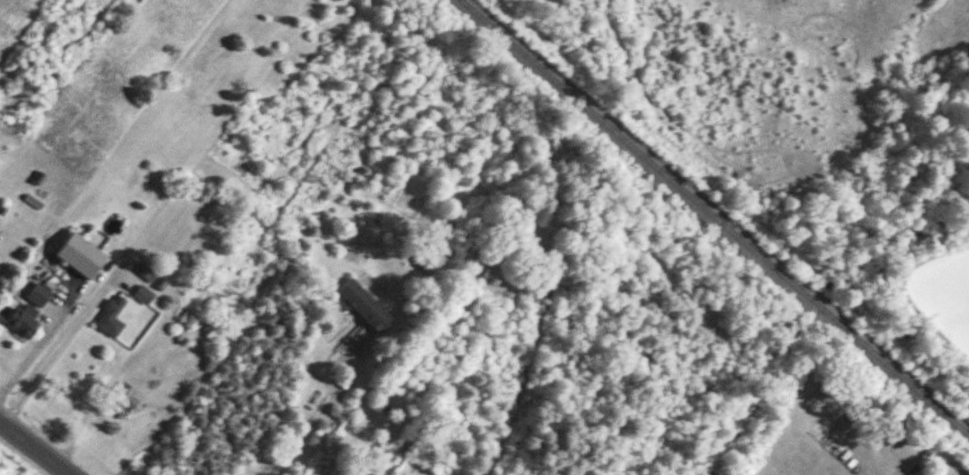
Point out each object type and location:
crop: (547, 2)
railway: (525, 57)
crop: (776, 75)
building: (431, 260)
building: (147, 274)
railway: (781, 275)
building: (36, 293)
road: (903, 295)
building: (145, 296)
building: (365, 306)
building: (112, 319)
building: (22, 325)
road: (35, 346)
road: (56, 350)
building: (127, 398)
road: (321, 418)
road: (34, 449)

